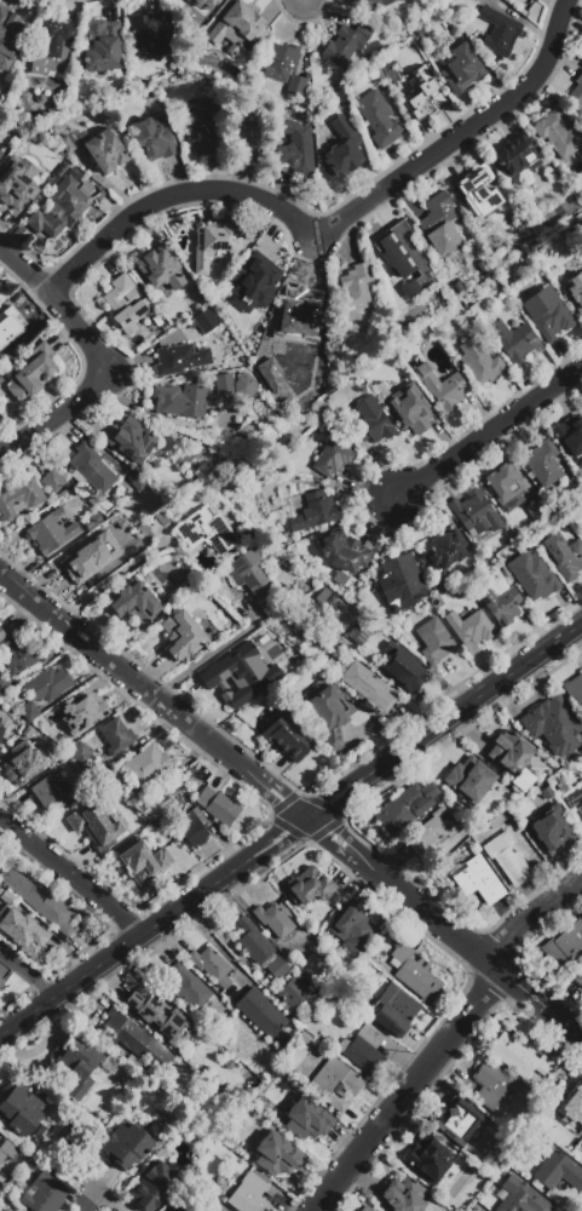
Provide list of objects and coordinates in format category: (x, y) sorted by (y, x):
building: (206, 2)
building: (369, 5)
building: (237, 27)
building: (499, 31)
building: (150, 33)
building: (8, 36)
building: (419, 38)
building: (100, 45)
building: (345, 46)
building: (53, 47)
building: (168, 63)
building: (284, 67)
building: (387, 69)
building: (461, 69)
building: (378, 73)
building: (120, 81)
building: (336, 86)
building: (575, 86)
building: (423, 96)
building: (379, 119)
building: (201, 130)
building: (557, 133)
building: (247, 137)
building: (155, 138)
building: (67, 144)
building: (294, 145)
building: (0, 153)
building: (104, 153)
building: (344, 153)
building: (44, 157)
building: (518, 160)
building: (13, 183)
building: (480, 195)
building: (59, 208)
building: (439, 223)
road: (329, 226)
building: (21, 233)
building: (217, 245)
building: (405, 257)
building: (159, 270)
building: (259, 276)
building: (358, 283)
building: (574, 291)
building: (125, 304)
building: (300, 310)
building: (547, 312)
building: (206, 321)
building: (12, 327)
building: (515, 340)
road: (98, 358)
building: (180, 358)
building: (480, 362)
building: (31, 372)
building: (270, 375)
building: (224, 384)
building: (442, 388)
building: (179, 401)
building: (409, 408)
building: (370, 423)
road: (488, 430)
building: (570, 437)
building: (131, 441)
building: (333, 458)
building: (544, 463)
building: (92, 469)
building: (52, 481)
building: (503, 483)
building: (19, 497)
building: (267, 497)
building: (536, 507)
building: (316, 511)
building: (476, 513)
building: (92, 522)
building: (204, 530)
building: (51, 532)
building: (581, 532)
building: (247, 533)
building: (302, 551)
building: (444, 551)
building: (344, 552)
building: (563, 555)
building: (80, 563)
building: (249, 574)
building: (532, 575)
road: (108, 578)
building: (399, 581)
building: (134, 601)
building: (319, 601)
building: (499, 601)
building: (437, 603)
building: (426, 607)
building: (213, 627)
building: (471, 629)
building: (361, 630)
building: (391, 635)
building: (183, 636)
building: (2, 639)
building: (434, 641)
road: (215, 649)
building: (19, 658)
building: (403, 667)
building: (243, 673)
building: (47, 684)
building: (364, 684)
building: (4, 685)
building: (575, 690)
road: (154, 695)
building: (80, 708)
building: (29, 711)
building: (330, 711)
building: (0, 721)
building: (553, 725)
building: (1, 731)
building: (282, 733)
building: (116, 736)
building: (65, 737)
building: (80, 751)
building: (509, 752)
building: (22, 761)
building: (71, 762)
building: (146, 765)
building: (114, 780)
building: (469, 780)
building: (48, 792)
building: (574, 799)
building: (218, 805)
building: (407, 808)
building: (94, 826)
building: (194, 828)
road: (290, 828)
building: (547, 830)
building: (433, 831)
building: (508, 857)
building: (142, 860)
road: (70, 872)
building: (479, 880)
building: (306, 888)
building: (39, 901)
building: (273, 919)
building: (19, 925)
building: (351, 928)
road: (443, 929)
building: (254, 943)
road: (217, 946)
building: (563, 946)
building: (212, 965)
building: (277, 968)
building: (4, 971)
road: (28, 972)
building: (254, 972)
building: (414, 974)
building: (578, 977)
building: (263, 982)
building: (192, 991)
building: (293, 993)
building: (392, 1008)
building: (260, 1012)
building: (160, 1018)
road: (444, 1039)
building: (136, 1040)
building: (363, 1050)
building: (520, 1057)
building: (111, 1063)
building: (74, 1067)
building: (335, 1084)
building: (491, 1084)
building: (19, 1110)
building: (565, 1112)
building: (306, 1119)
building: (456, 1120)
building: (125, 1147)
building: (580, 1149)
building: (8, 1150)
building: (276, 1155)
building: (427, 1158)
building: (555, 1169)
building: (155, 1186)
building: (45, 1193)
building: (250, 1193)
building: (403, 1195)
building: (518, 1195)
road: (87, 1203)
building: (188, 1207)
building: (365, 1207)
building: (4, 1210)
building: (6, 1210)

